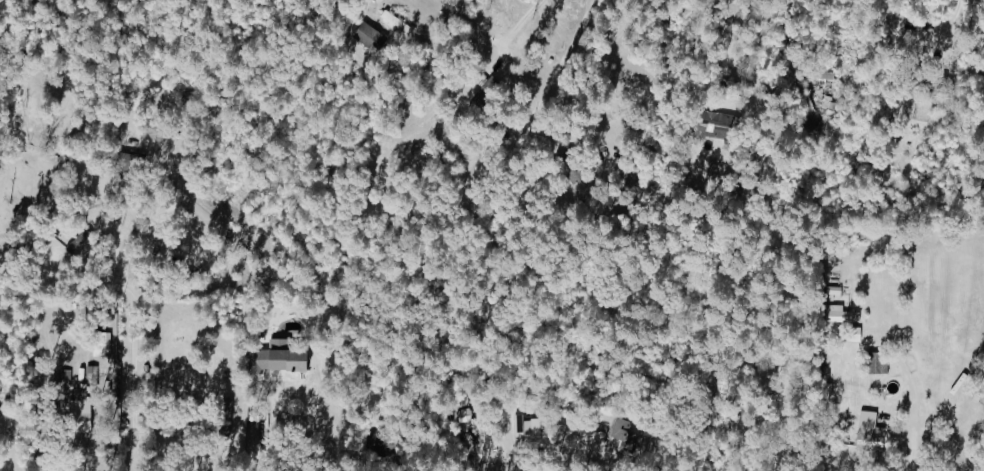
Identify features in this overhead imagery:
road: (703, 16)
road: (519, 24)
road: (972, 26)
building: (370, 36)
road: (590, 73)
road: (712, 82)
building: (721, 126)
road: (66, 284)
building: (853, 334)
building: (288, 357)
building: (874, 362)
road: (131, 385)
building: (86, 392)
road: (54, 419)
building: (864, 425)
road: (270, 426)
building: (180, 428)
building: (526, 428)
building: (621, 432)
building: (381, 443)

